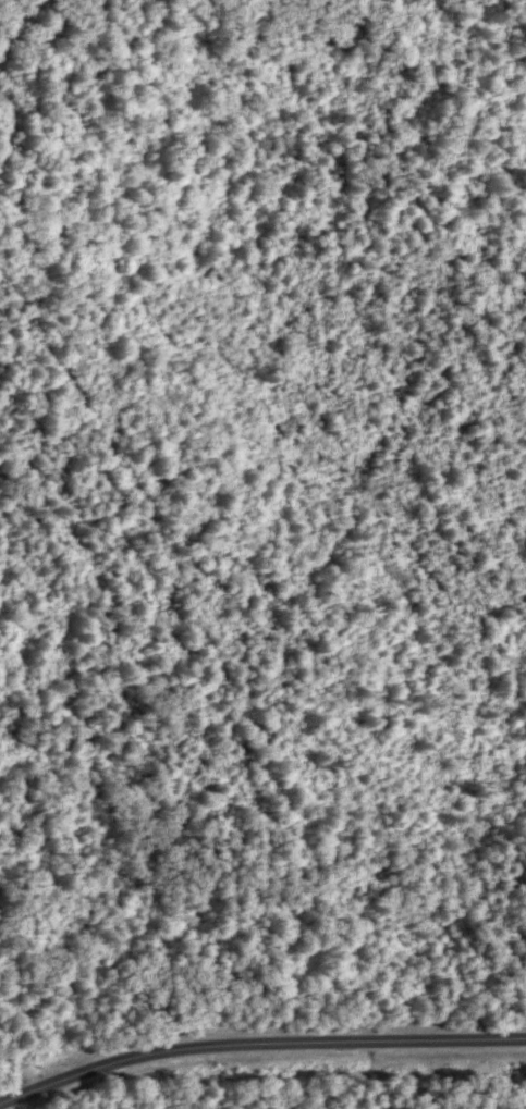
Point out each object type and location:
road: (20, 25)
road: (258, 1044)

